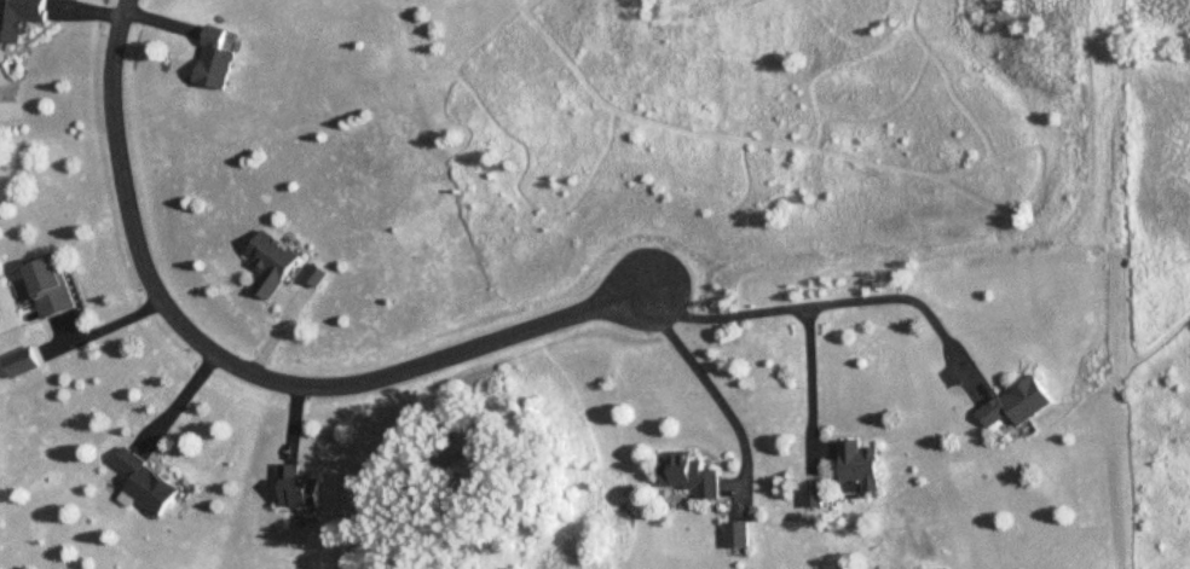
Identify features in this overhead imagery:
building: (21, 18)
building: (216, 60)
building: (272, 263)
building: (53, 289)
road: (826, 304)
road: (242, 371)
road: (805, 375)
road: (706, 384)
building: (1018, 403)
building: (861, 469)
building: (691, 475)
building: (149, 484)
building: (299, 489)

